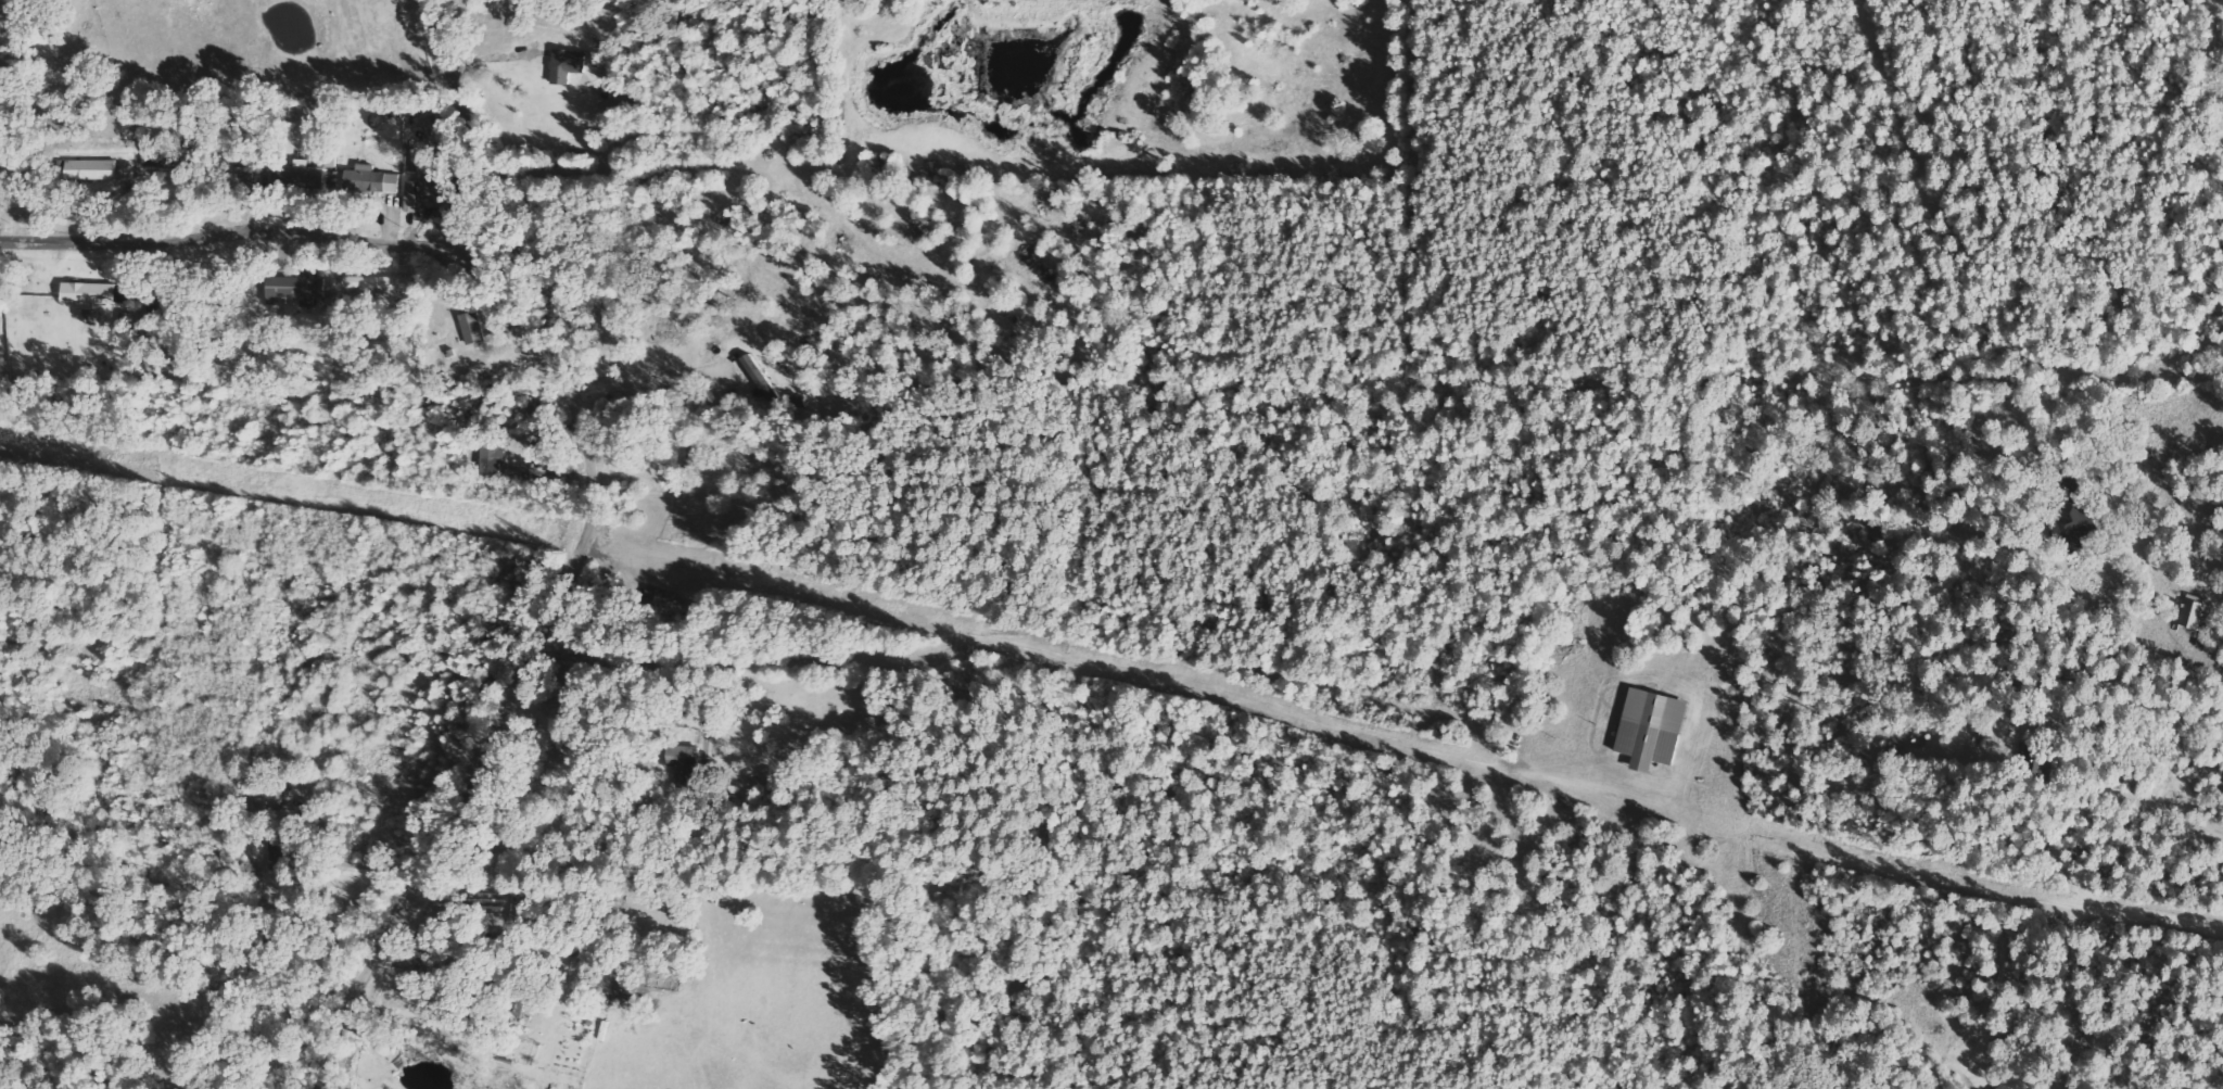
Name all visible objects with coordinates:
building: (568, 64)
building: (168, 164)
building: (93, 169)
building: (128, 170)
building: (303, 175)
building: (374, 180)
building: (429, 191)
road: (241, 236)
building: (379, 282)
building: (297, 289)
building: (90, 293)
building: (126, 294)
building: (474, 328)
building: (493, 458)
building: (515, 474)
building: (2085, 519)
road: (582, 558)
building: (678, 608)
building: (2187, 616)
building: (1654, 729)
building: (686, 763)
road: (2174, 816)
building: (281, 852)

